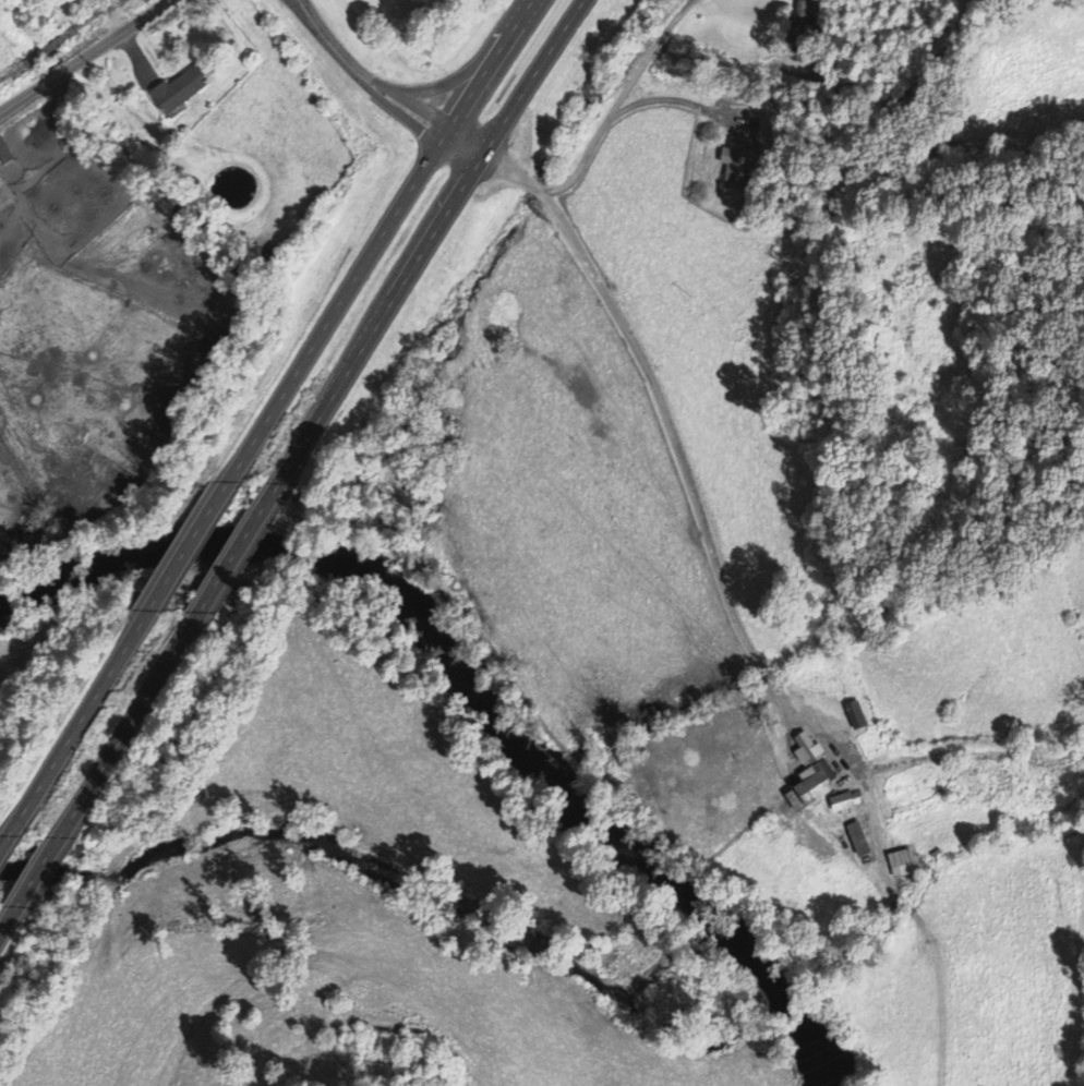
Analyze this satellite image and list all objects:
railway: (99, 13)
road: (120, 15)
road: (121, 34)
railway: (51, 46)
road: (493, 64)
railway: (11, 71)
road: (60, 74)
road: (534, 74)
road: (384, 85)
building: (174, 92)
road: (24, 97)
building: (740, 166)
building: (4, 200)
road: (342, 305)
road: (383, 315)
road: (670, 417)
road: (193, 543)
road: (244, 545)
road: (88, 712)
road: (141, 714)
building: (854, 716)
building: (807, 776)
building: (842, 804)
road: (12, 836)
building: (855, 841)
building: (899, 865)
road: (41, 872)
river: (470, 916)
road: (3, 930)

